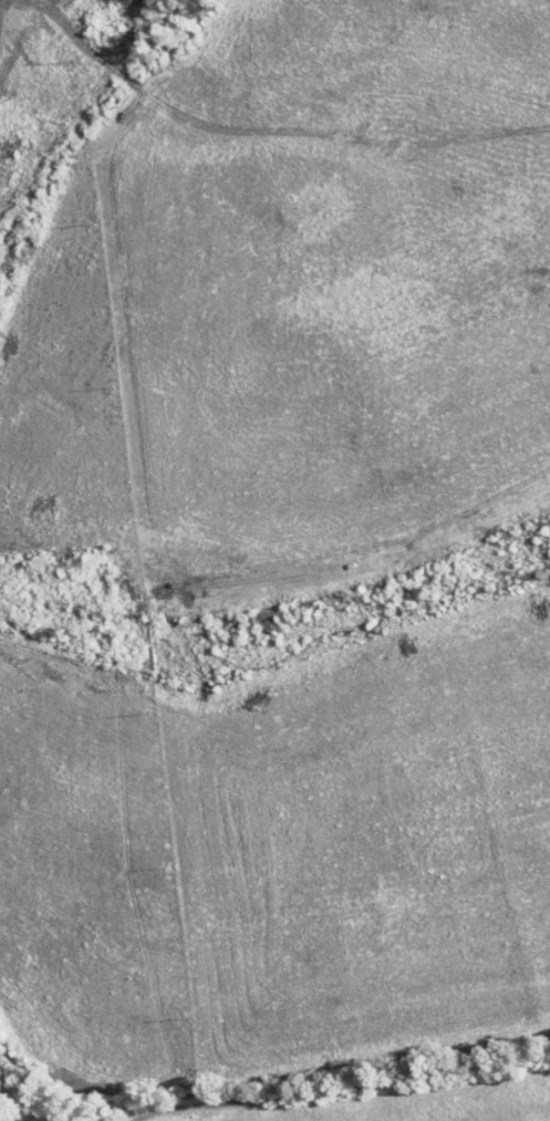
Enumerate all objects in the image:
road: (341, 1080)

